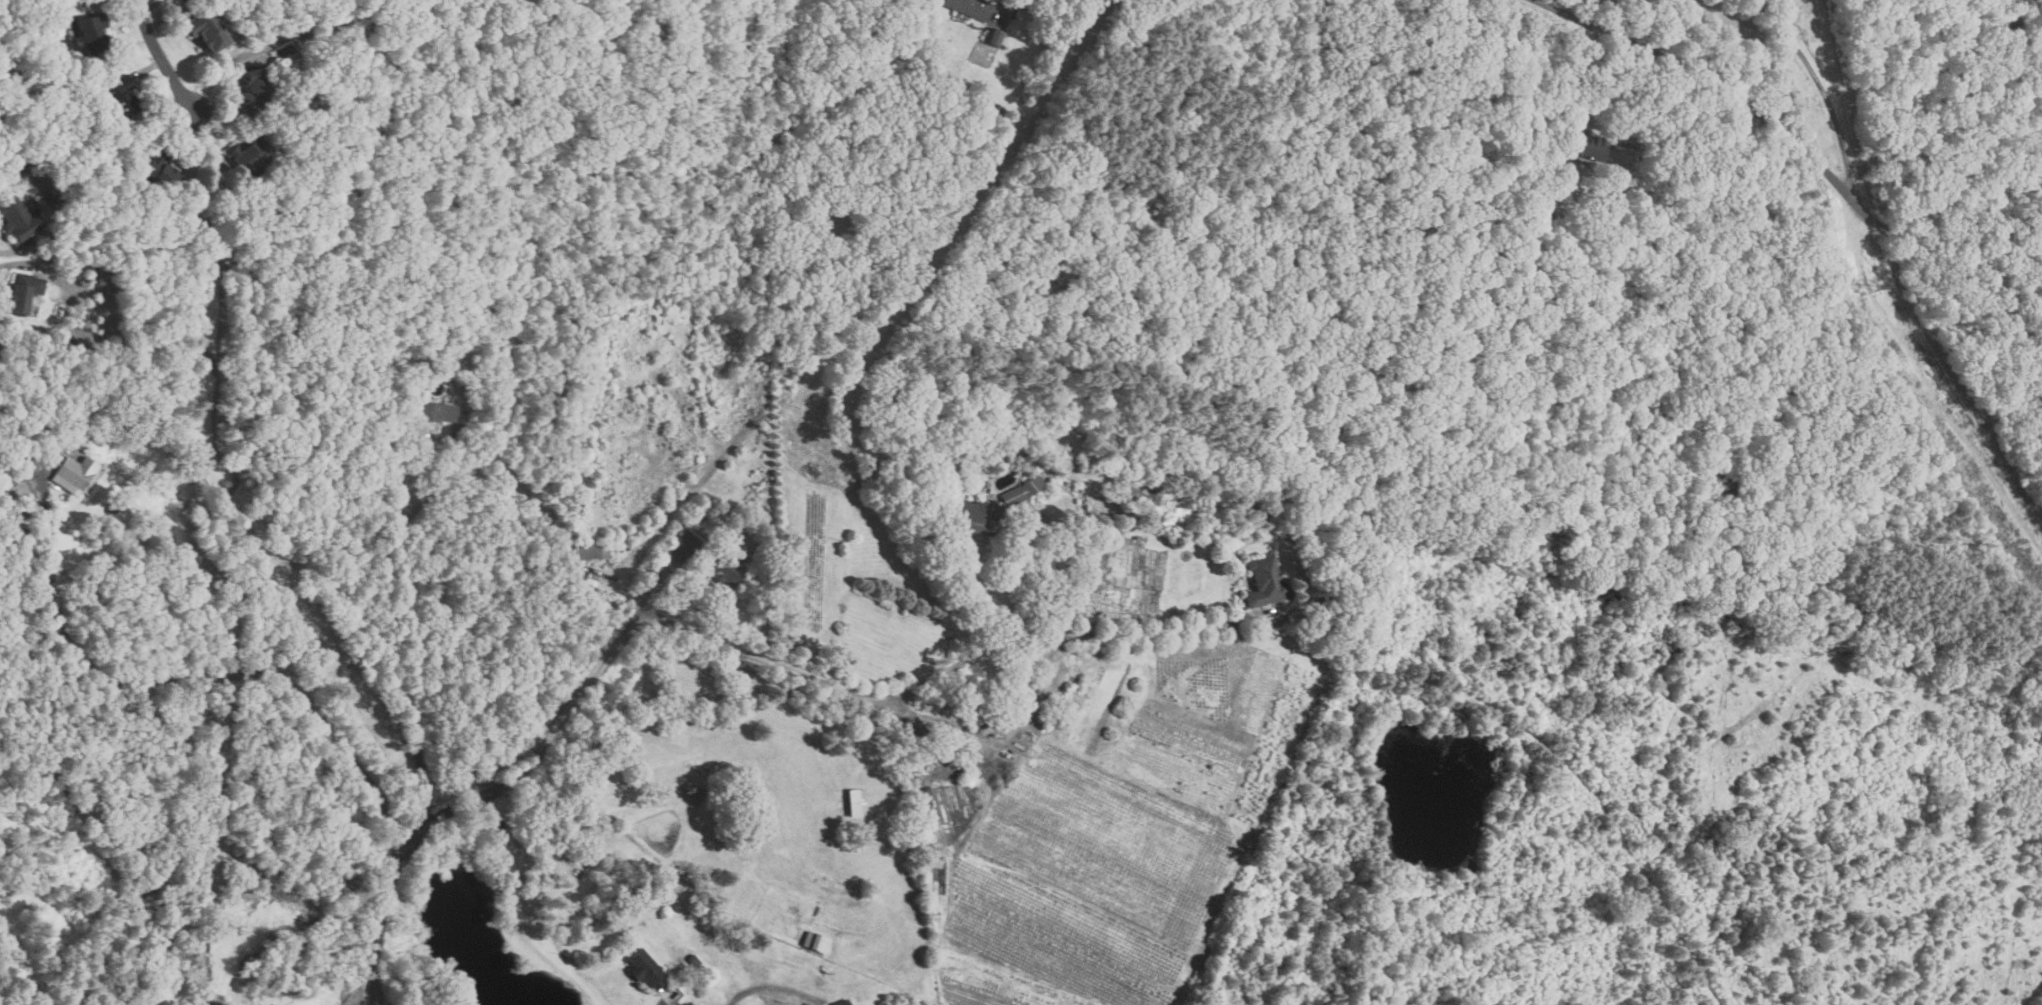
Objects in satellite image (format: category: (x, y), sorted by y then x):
building: (970, 7)
road: (2037, 13)
building: (205, 30)
building: (88, 33)
building: (995, 36)
road: (162, 57)
building: (253, 87)
road: (1600, 89)
road: (1824, 90)
building: (120, 95)
road: (1648, 113)
building: (1588, 145)
road: (1806, 150)
building: (250, 154)
building: (159, 171)
building: (16, 218)
power tower: (1865, 286)
building: (22, 291)
building: (436, 411)
building: (1061, 428)
building: (75, 471)
building: (991, 507)
building: (592, 550)
building: (711, 559)
road: (384, 562)
building: (1265, 581)
road: (202, 673)
road: (924, 681)
road: (470, 797)
building: (856, 800)
building: (816, 941)
building: (646, 969)

